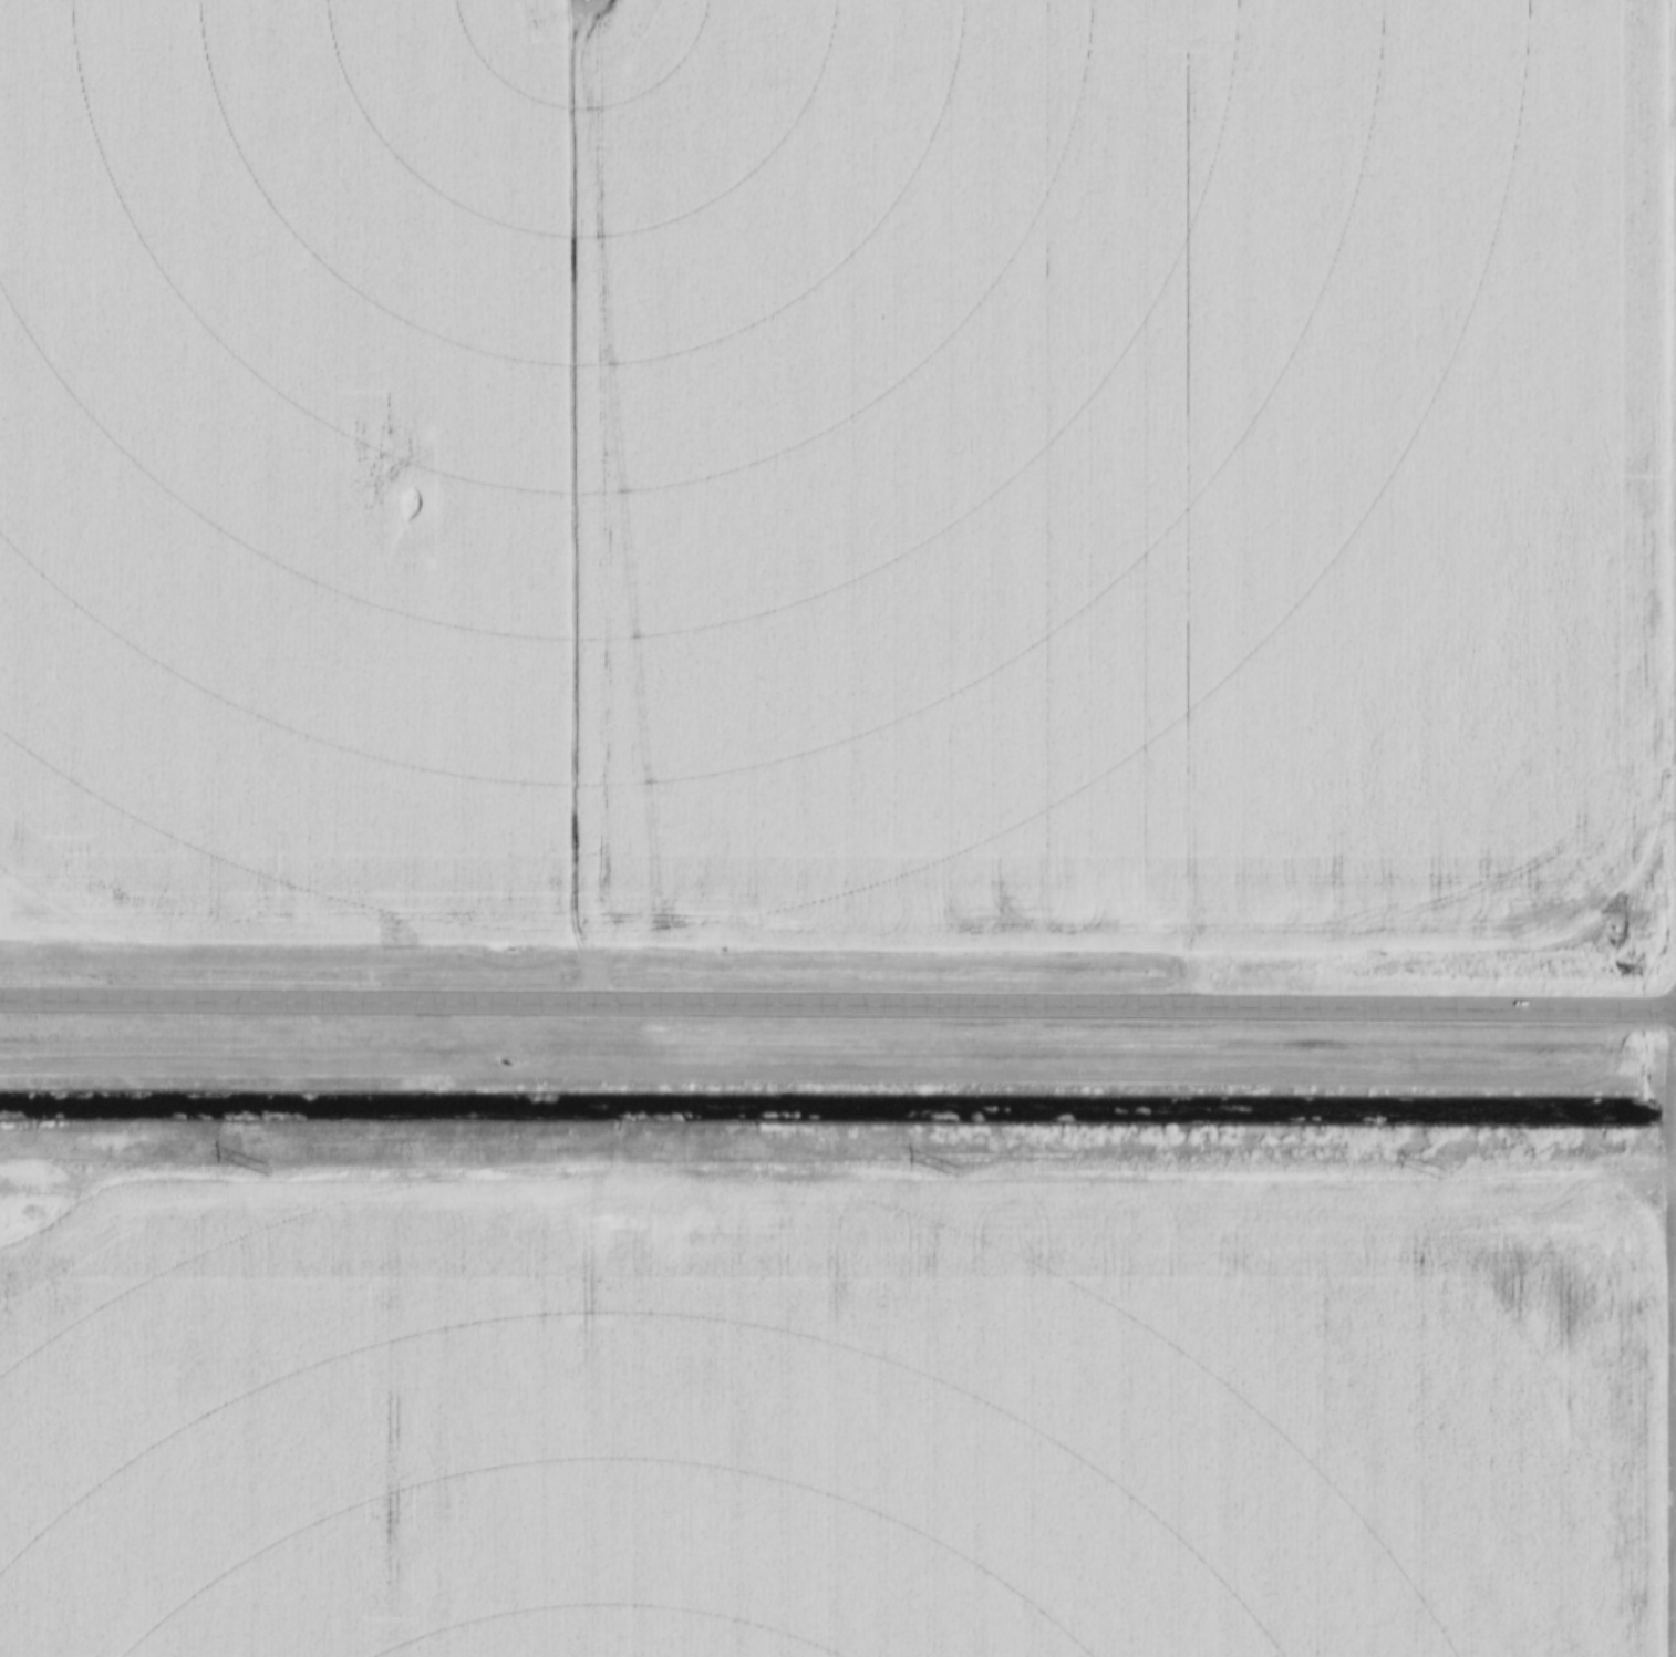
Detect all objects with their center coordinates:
road: (838, 1008)
power tower: (428, 1147)
power tower: (1021, 1151)
power tower: (1617, 1158)

